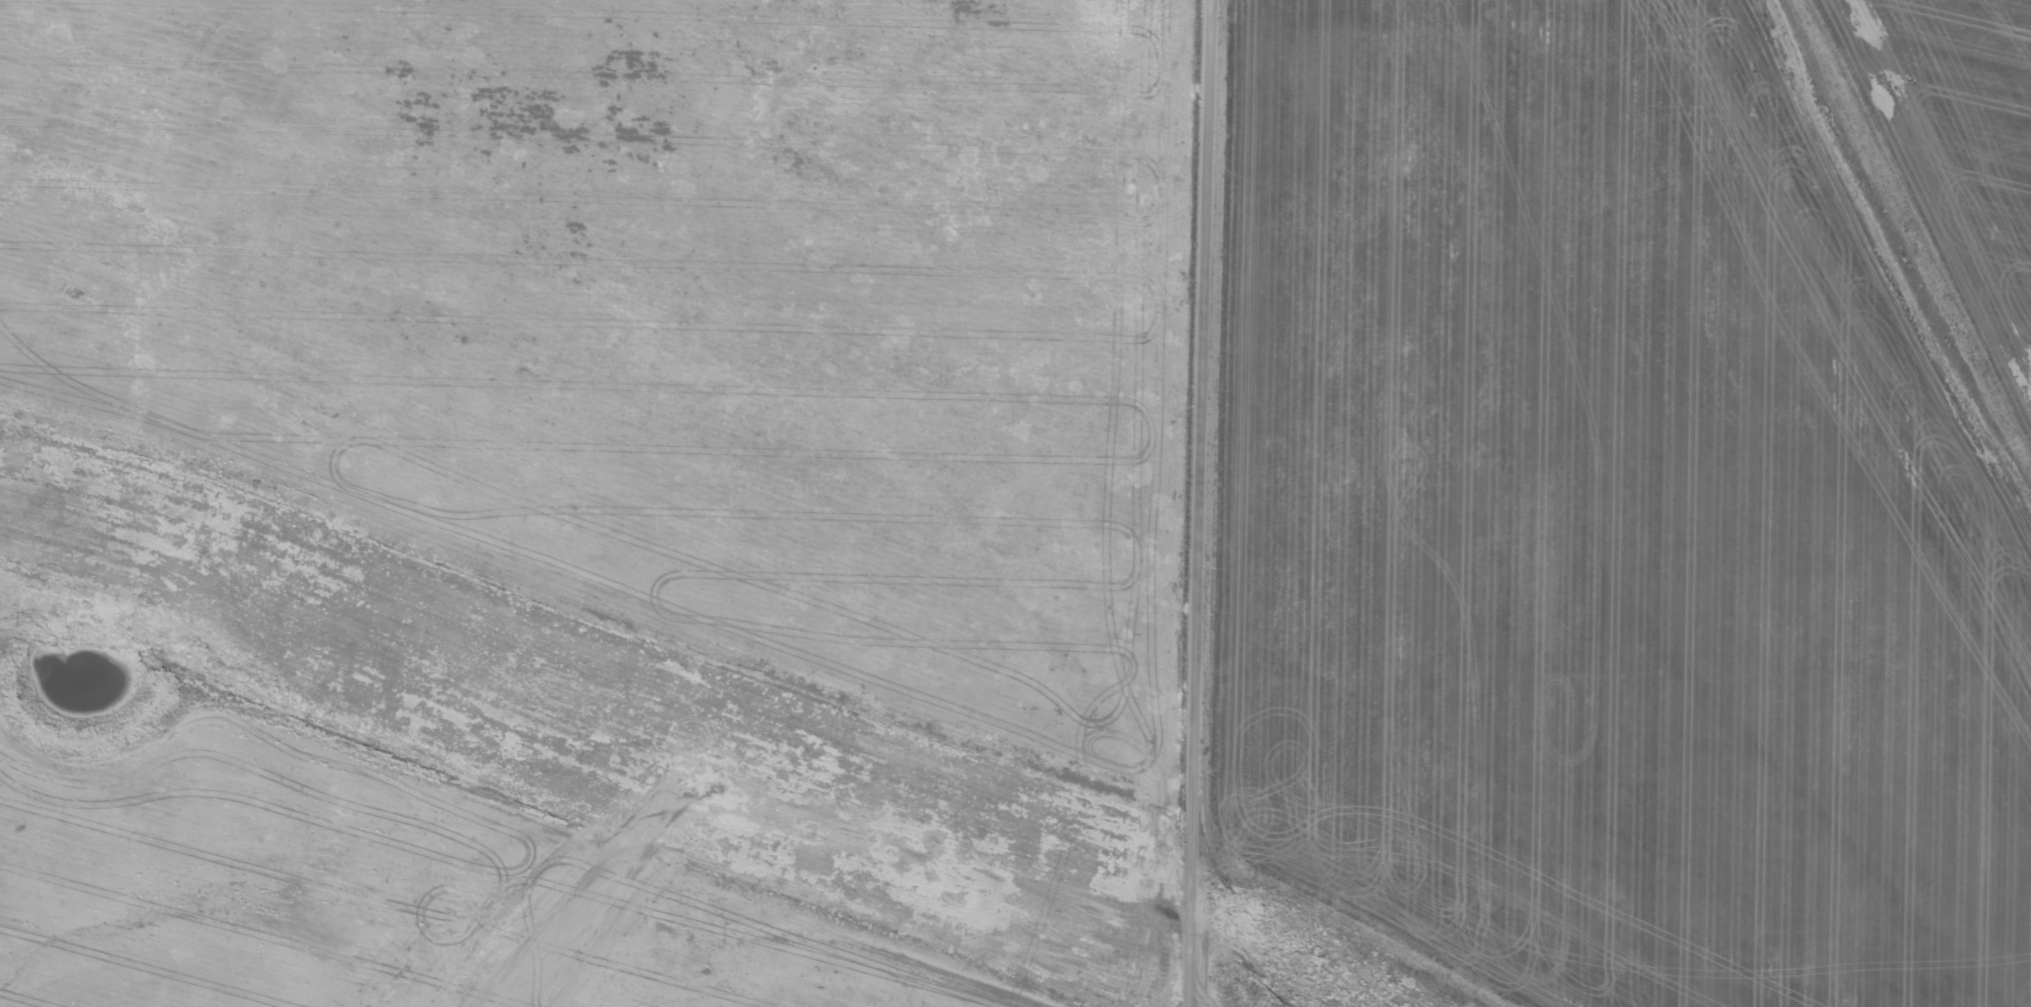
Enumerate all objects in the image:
road: (1202, 503)

